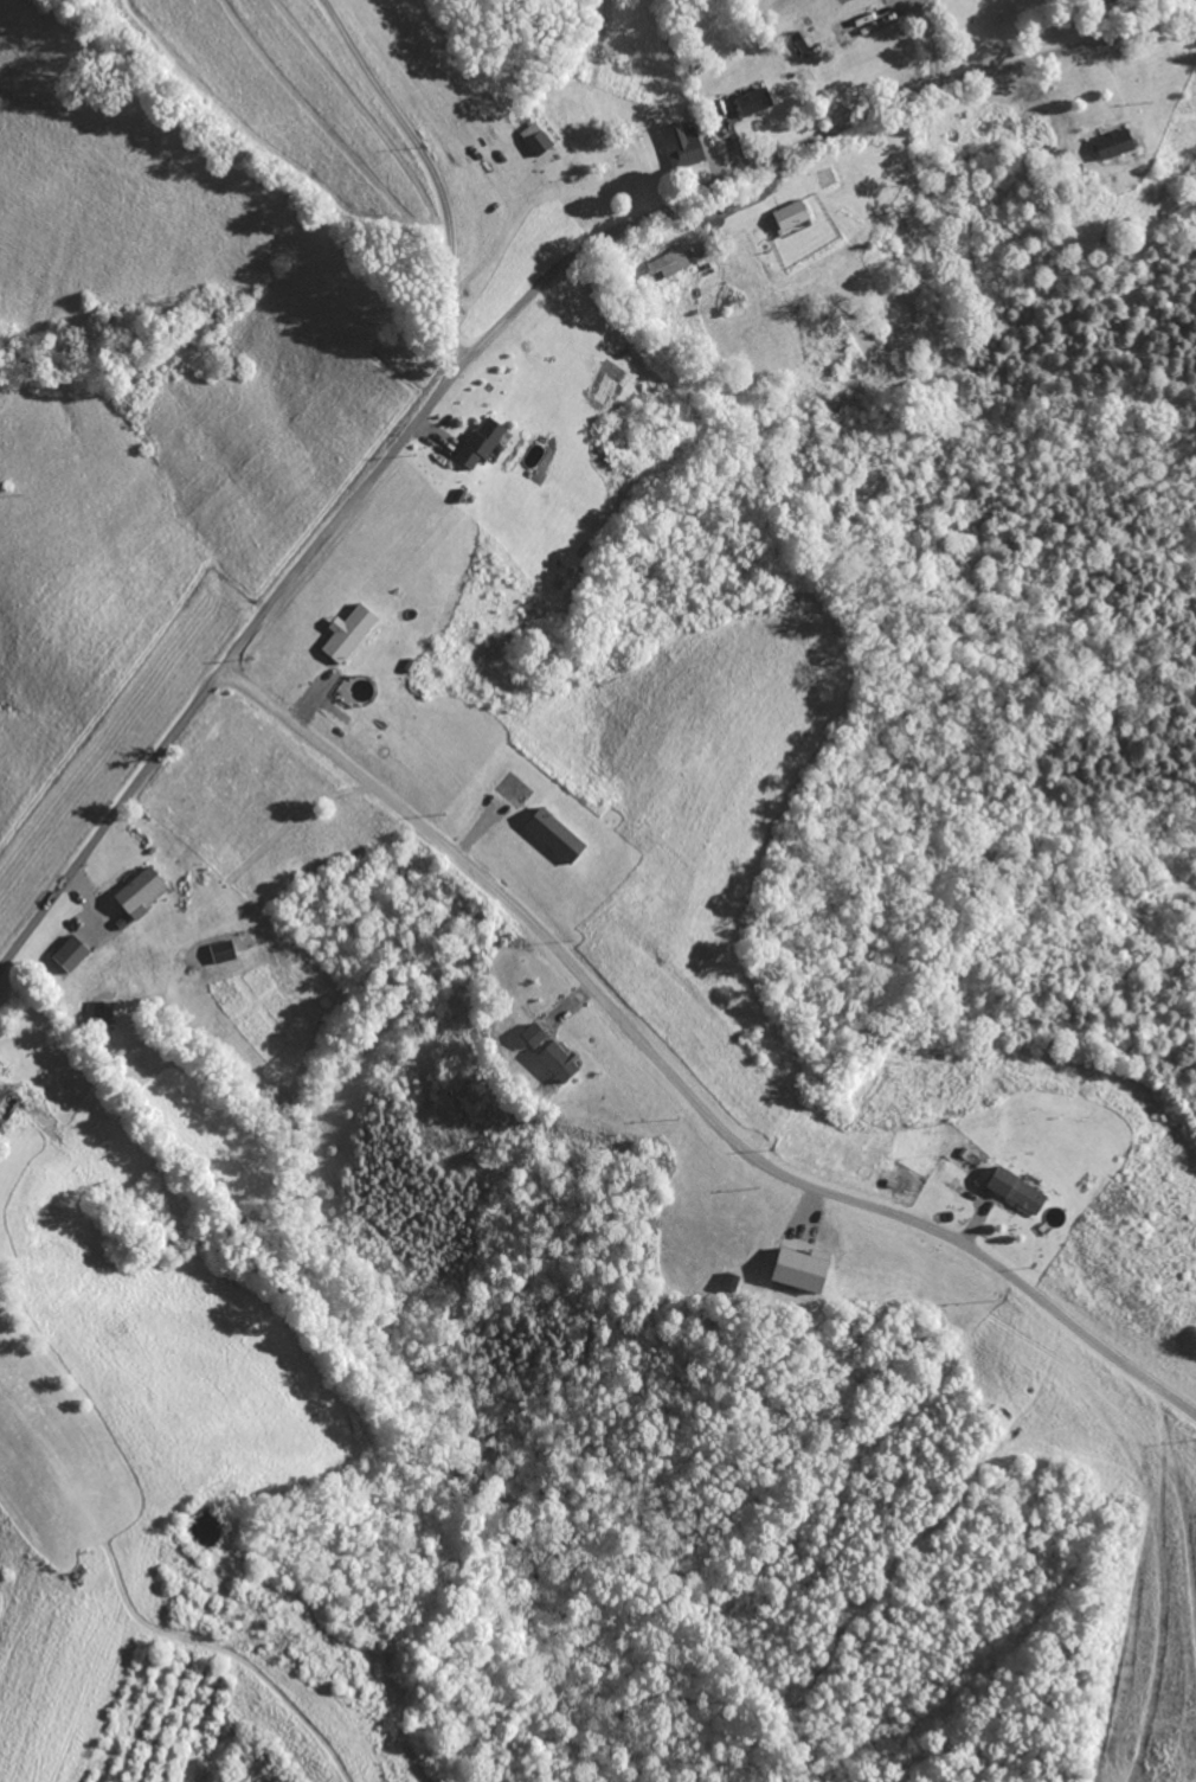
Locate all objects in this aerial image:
building: (748, 102)
building: (531, 139)
building: (1110, 143)
building: (675, 145)
road: (427, 167)
building: (786, 216)
building: (667, 264)
road: (486, 336)
building: (475, 442)
building: (342, 633)
building: (548, 835)
building: (135, 893)
building: (218, 953)
building: (65, 955)
building: (98, 1013)
building: (529, 1037)
building: (554, 1063)
road: (677, 1085)
building: (1010, 1192)
building: (795, 1270)

